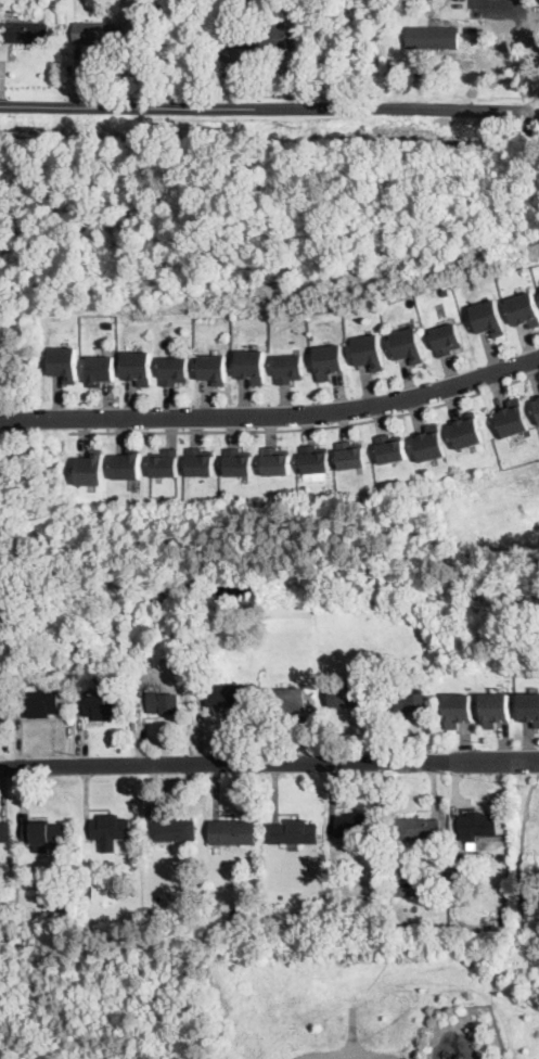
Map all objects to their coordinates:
building: (24, 31)
building: (99, 34)
building: (258, 38)
building: (434, 38)
road: (269, 109)
building: (444, 290)
building: (524, 308)
building: (487, 317)
building: (446, 337)
building: (408, 344)
building: (368, 350)
building: (329, 360)
building: (64, 361)
building: (138, 365)
building: (251, 365)
building: (213, 367)
building: (288, 367)
building: (101, 368)
building: (175, 369)
building: (538, 401)
road: (272, 416)
building: (515, 417)
road: (308, 426)
building: (469, 429)
building: (432, 442)
building: (393, 446)
building: (352, 454)
building: (317, 457)
building: (278, 459)
building: (201, 460)
building: (240, 460)
building: (166, 461)
building: (129, 463)
building: (91, 468)
building: (0, 477)
building: (3, 641)
building: (144, 646)
building: (226, 696)
building: (346, 697)
building: (401, 699)
building: (286, 700)
building: (140, 702)
building: (164, 702)
building: (42, 703)
building: (0, 704)
building: (530, 705)
building: (104, 706)
building: (460, 707)
building: (497, 707)
road: (496, 761)
road: (226, 765)
building: (356, 825)
building: (478, 825)
building: (418, 828)
building: (5, 831)
building: (111, 831)
building: (172, 831)
building: (233, 832)
building: (294, 832)
building: (47, 838)
building: (354, 875)
building: (406, 882)
road: (522, 890)
building: (89, 893)
building: (282, 894)
building: (341, 896)
building: (158, 898)
building: (64, 904)
building: (213, 909)
building: (184, 915)
building: (27, 928)
building: (215, 930)
building: (121, 931)
building: (384, 931)
road: (401, 980)
park: (271, 997)
road: (454, 1028)
road: (482, 1033)

